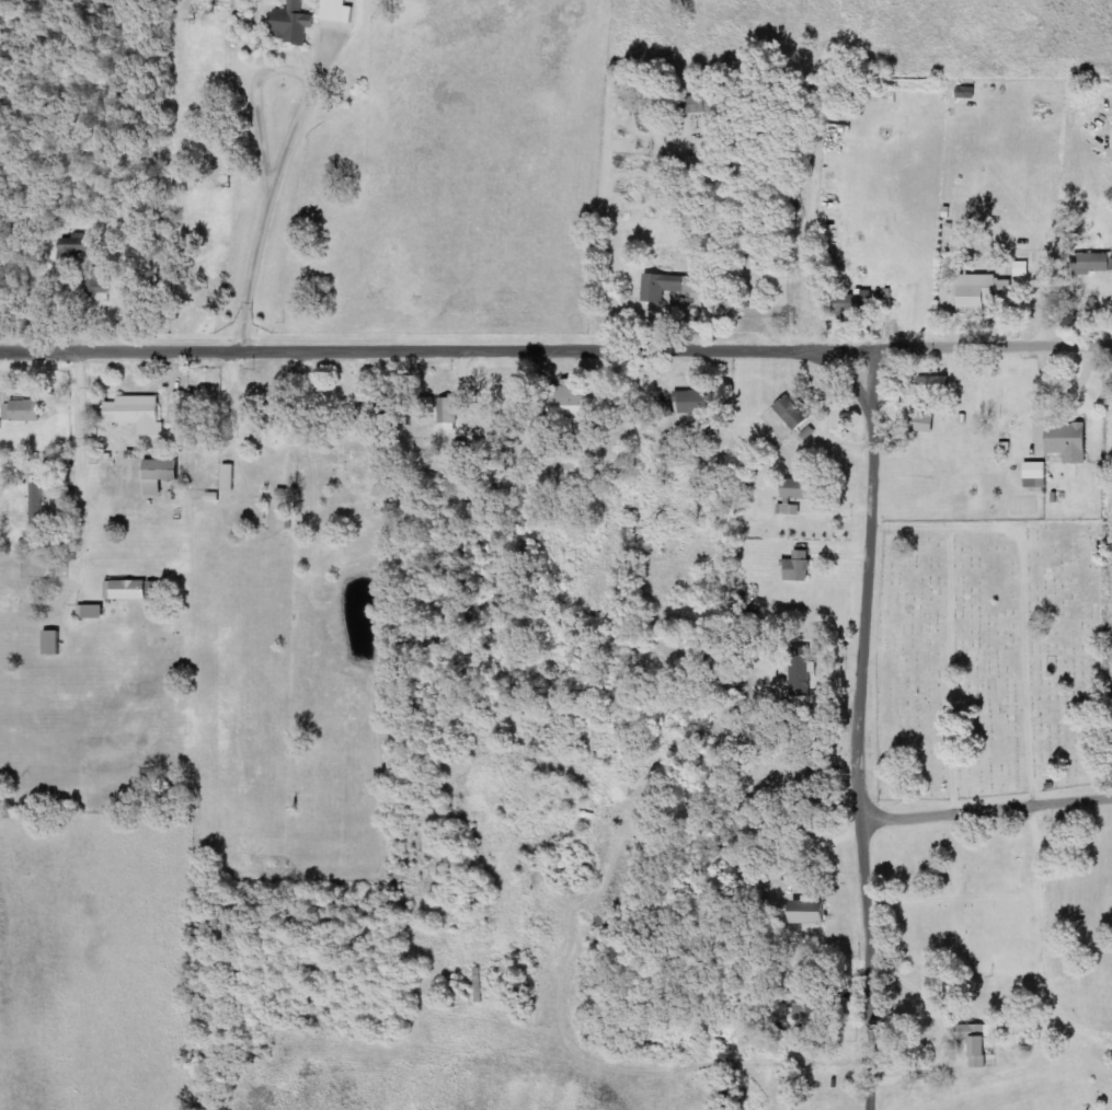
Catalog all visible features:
building: (341, 11)
building: (297, 23)
building: (704, 104)
building: (76, 251)
building: (1091, 263)
building: (1023, 268)
road: (389, 274)
building: (100, 285)
building: (662, 286)
building: (982, 292)
building: (852, 301)
road: (555, 350)
building: (932, 385)
building: (693, 402)
building: (570, 403)
building: (374, 407)
building: (25, 412)
building: (793, 412)
building: (451, 413)
building: (140, 414)
road: (128, 419)
building: (1066, 441)
building: (465, 450)
building: (1035, 474)
building: (163, 475)
building: (231, 478)
building: (792, 490)
building: (789, 509)
building: (42, 510)
building: (798, 567)
building: (130, 590)
building: (94, 611)
building: (56, 641)
park: (988, 654)
road: (858, 729)
road: (986, 811)
building: (805, 915)
building: (976, 1042)

